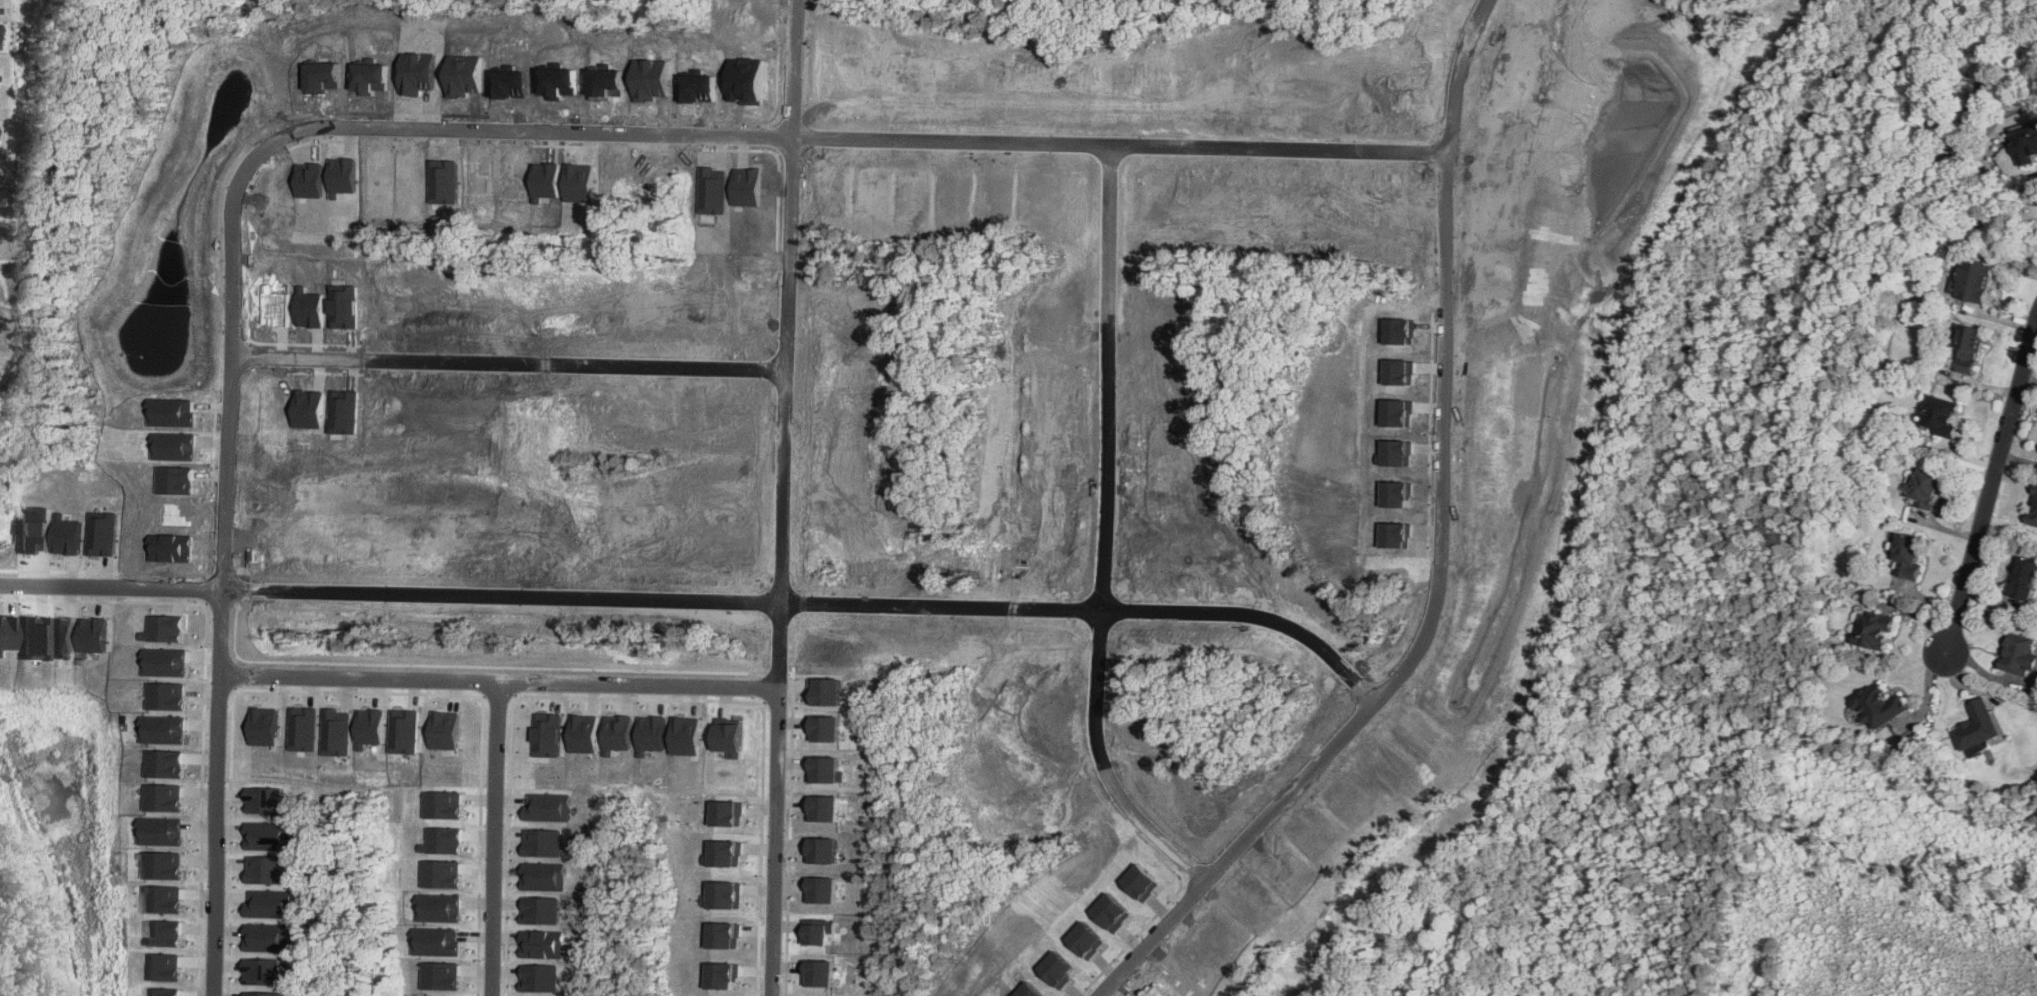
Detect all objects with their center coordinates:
road: (802, 68)
road: (1467, 73)
building: (2025, 141)
road: (1130, 144)
road: (2022, 189)
road: (797, 253)
building: (1974, 281)
road: (233, 299)
building: (1967, 349)
road: (512, 366)
road: (1116, 379)
building: (1940, 414)
road: (1990, 484)
building: (1926, 487)
building: (2033, 512)
building: (33, 528)
road: (790, 528)
building: (66, 535)
building: (1908, 556)
building: (2024, 577)
road: (704, 599)
building: (167, 628)
building: (1875, 629)
building: (5, 632)
building: (64, 635)
building: (30, 637)
building: (98, 637)
road: (1429, 639)
building: (2019, 654)
building: (168, 661)
road: (360, 677)
road: (641, 684)
building: (826, 692)
building: (169, 695)
building: (1879, 706)
building: (1978, 724)
building: (825, 727)
building: (166, 729)
building: (374, 729)
building: (448, 730)
building: (340, 732)
building: (654, 732)
building: (550, 734)
building: (730, 740)
road: (1112, 763)
building: (168, 764)
building: (826, 769)
building: (167, 797)
building: (267, 801)
building: (445, 804)
building: (551, 807)
building: (826, 808)
building: (729, 813)
building: (164, 831)
building: (269, 836)
road: (495, 838)
building: (445, 840)
building: (546, 842)
road: (779, 842)
building: (823, 850)
building: (726, 853)
building: (166, 865)
building: (266, 869)
building: (444, 874)
building: (547, 876)
building: (821, 889)
building: (725, 895)
building: (165, 899)
building: (270, 904)
building: (441, 909)
building: (820, 931)
building: (164, 933)
building: (726, 935)
building: (267, 937)
building: (437, 941)
building: (545, 944)
building: (163, 966)
building: (263, 971)
building: (821, 973)
building: (441, 975)
building: (724, 975)
building: (164, 991)
building: (264, 993)

